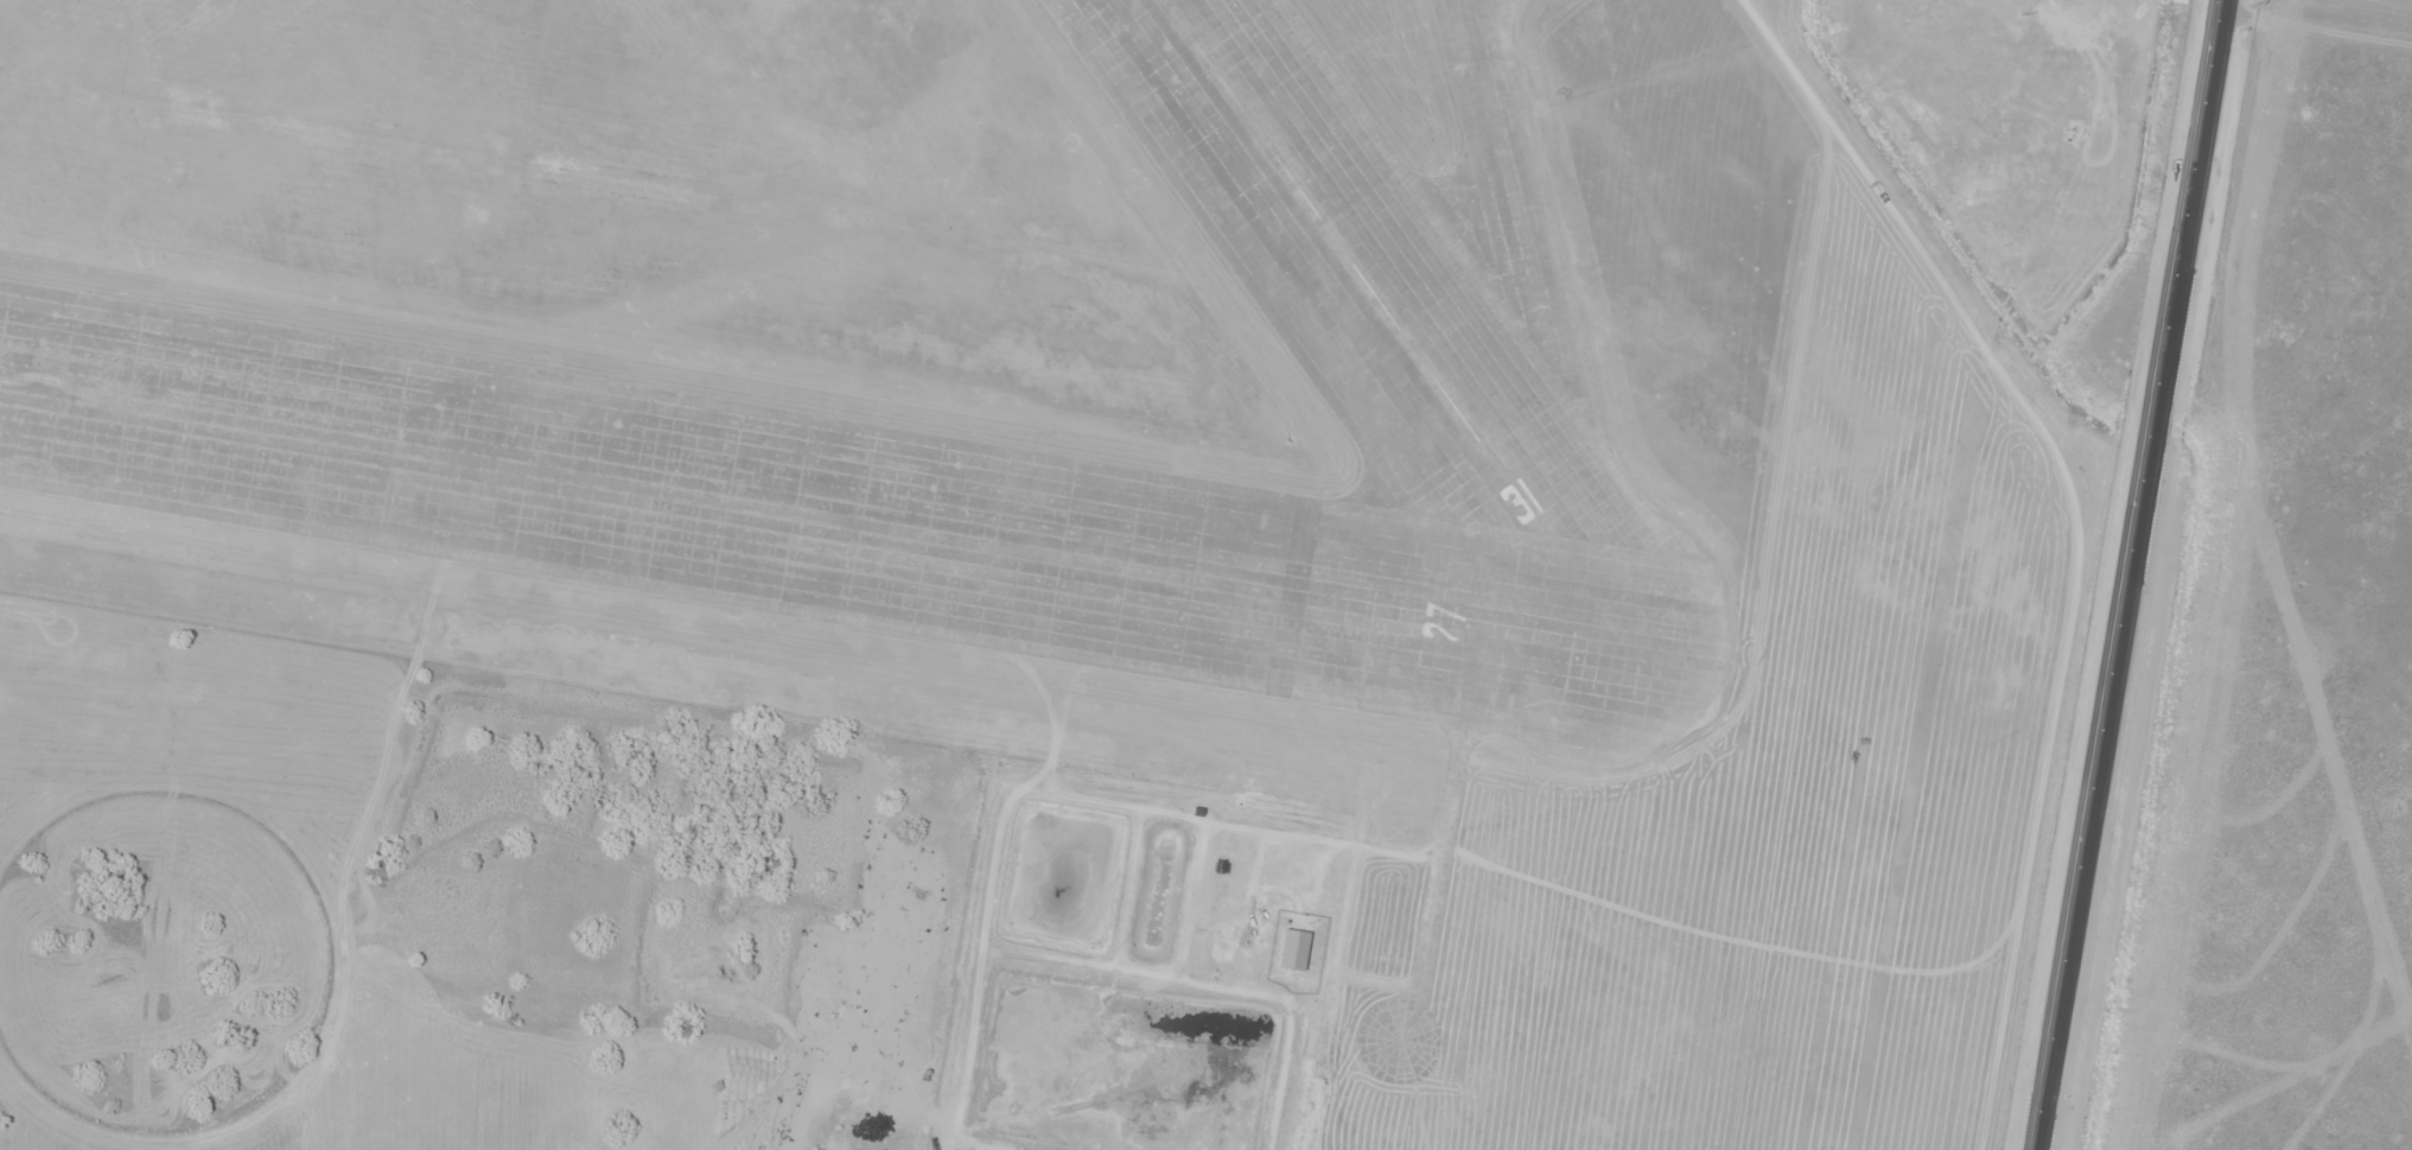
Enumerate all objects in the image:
road: (2318, 20)
building: (2090, 138)
building: (1345, 203)
airport runway: (1387, 325)
airport taxiway: (1546, 325)
airport: (1192, 449)
airport runway: (808, 517)
road: (2003, 540)
road: (2131, 574)

